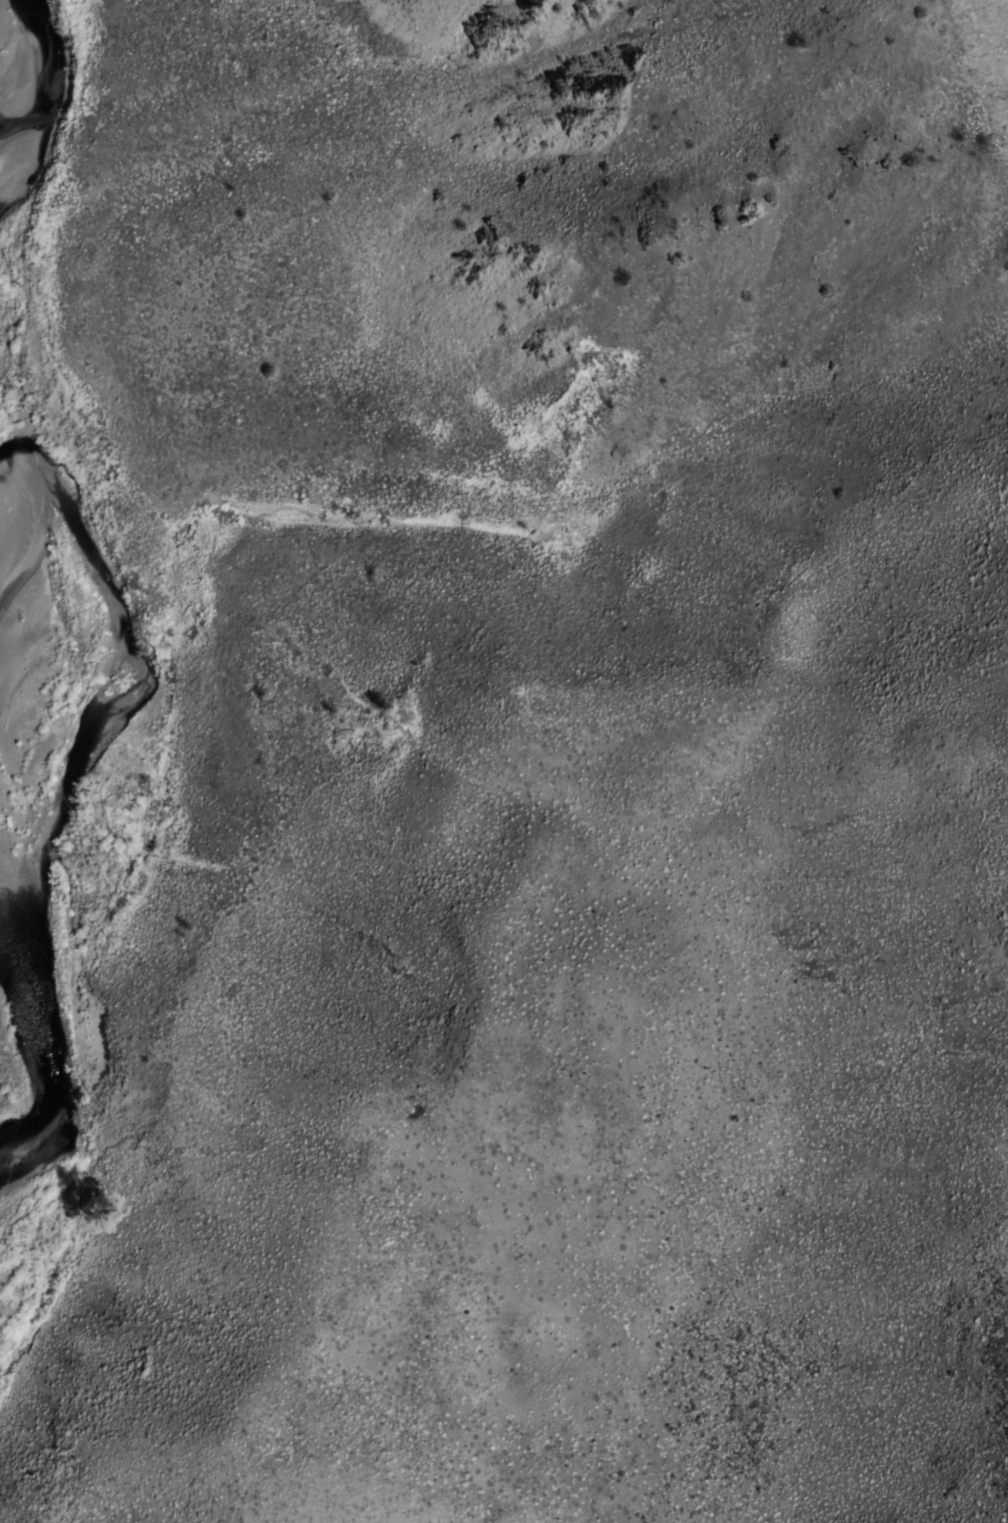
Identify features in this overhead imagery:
river: (54, 94)
river: (47, 1040)

